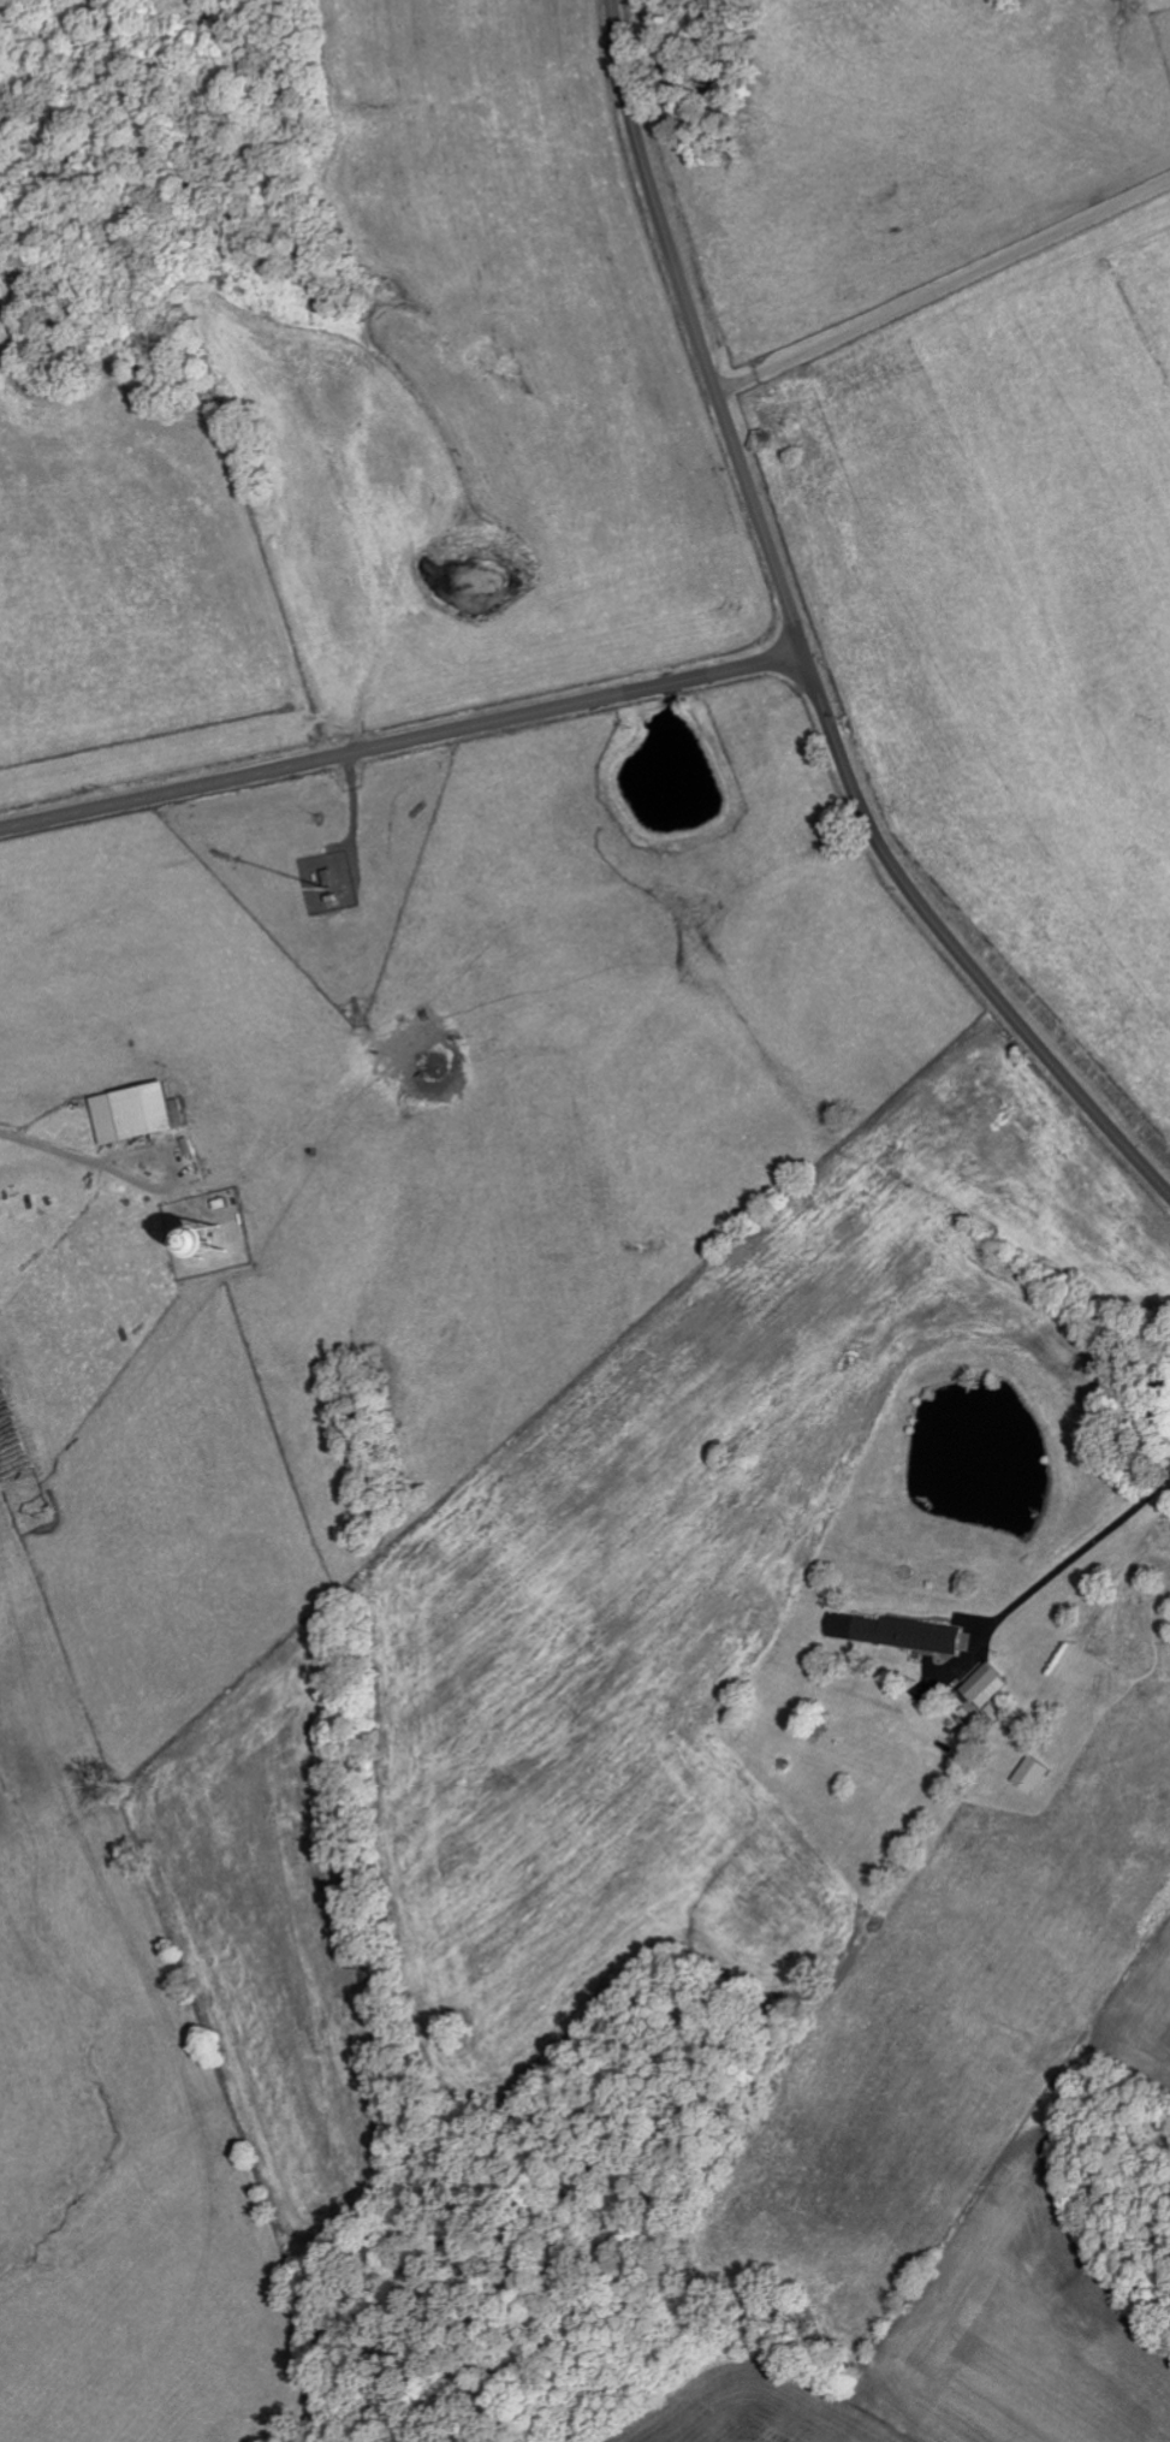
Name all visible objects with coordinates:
road: (937, 272)
road: (695, 331)
road: (403, 743)
road: (952, 947)
building: (141, 1113)
road: (46, 1148)
road: (1074, 1563)
building: (901, 1634)
building: (990, 1687)
building: (1035, 1776)

